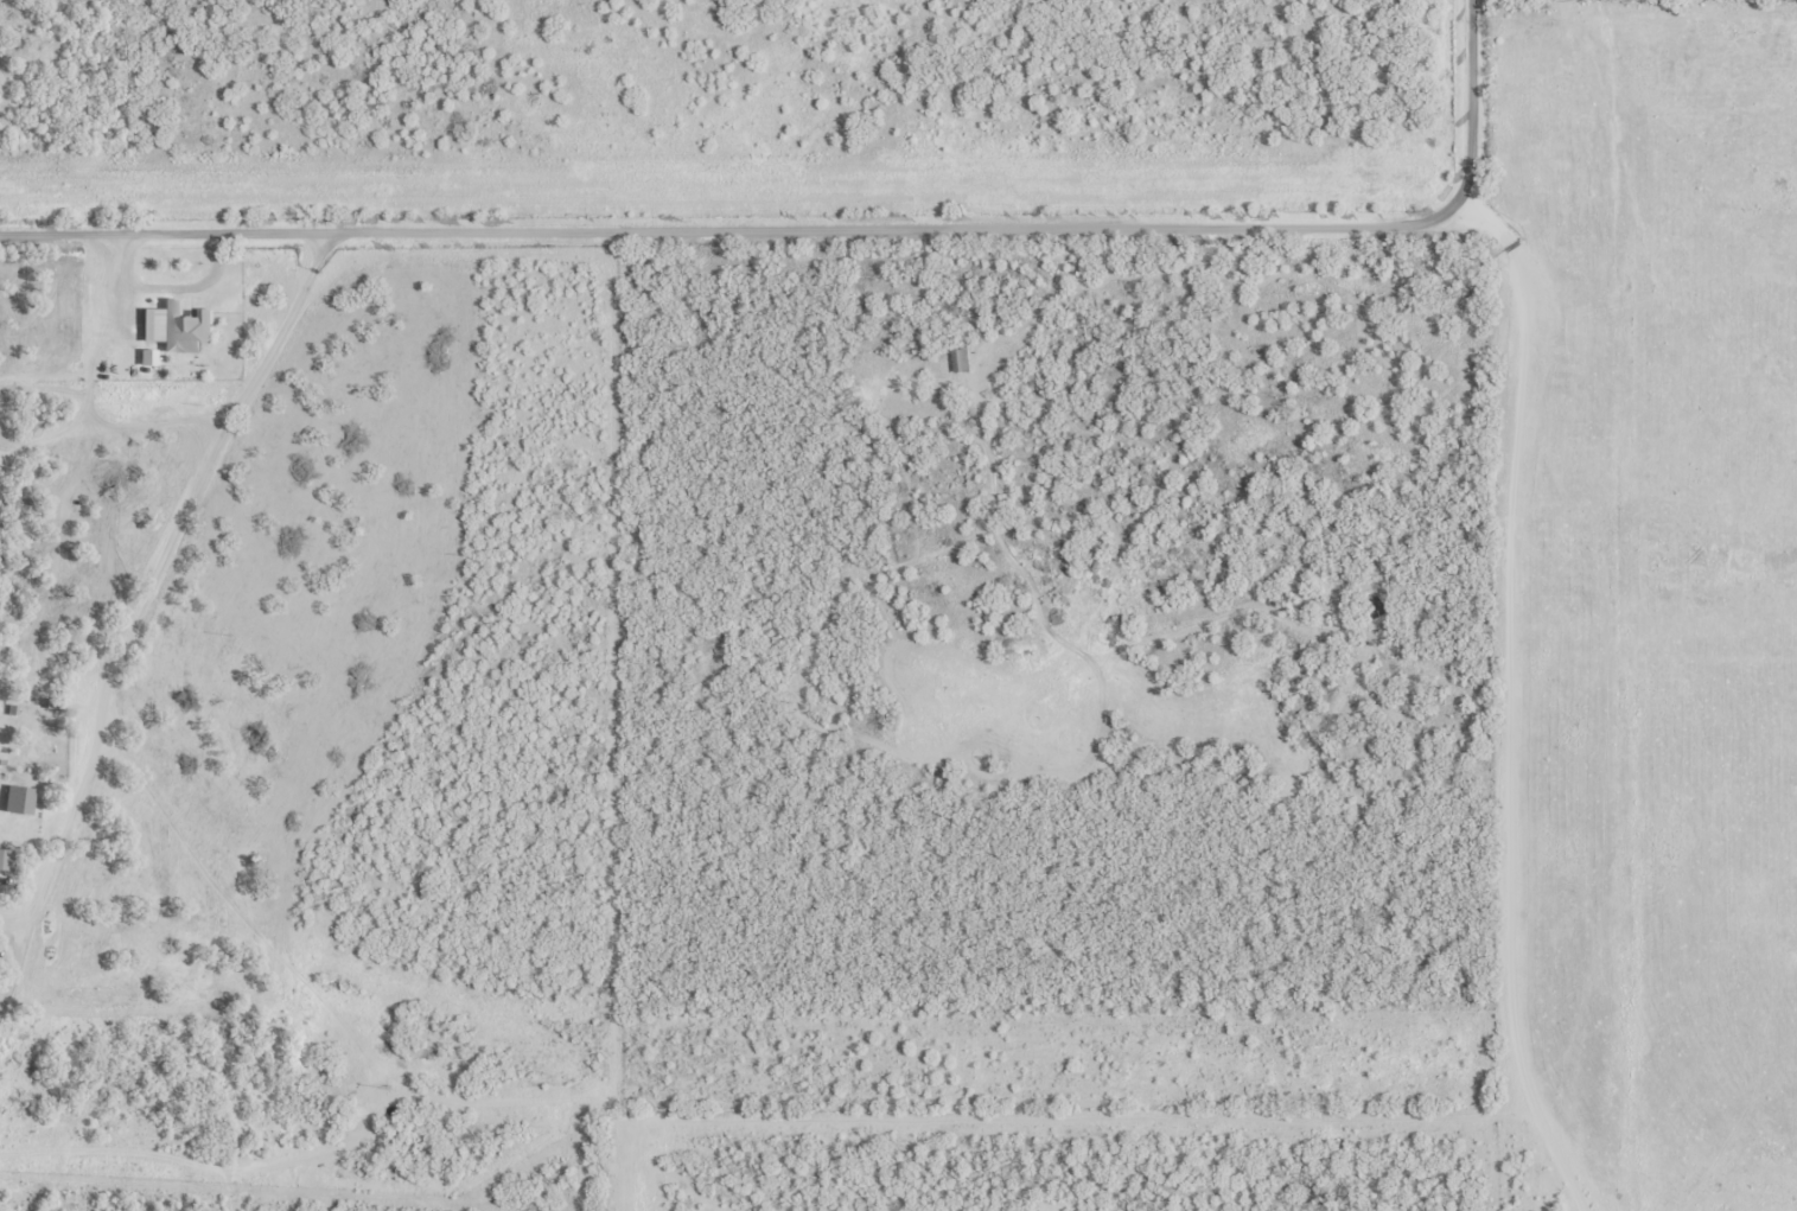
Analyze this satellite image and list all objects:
road: (834, 230)
building: (179, 326)
building: (961, 359)
road: (210, 472)
road: (1512, 699)
building: (42, 744)
building: (7, 860)
road: (50, 865)
road: (229, 898)

